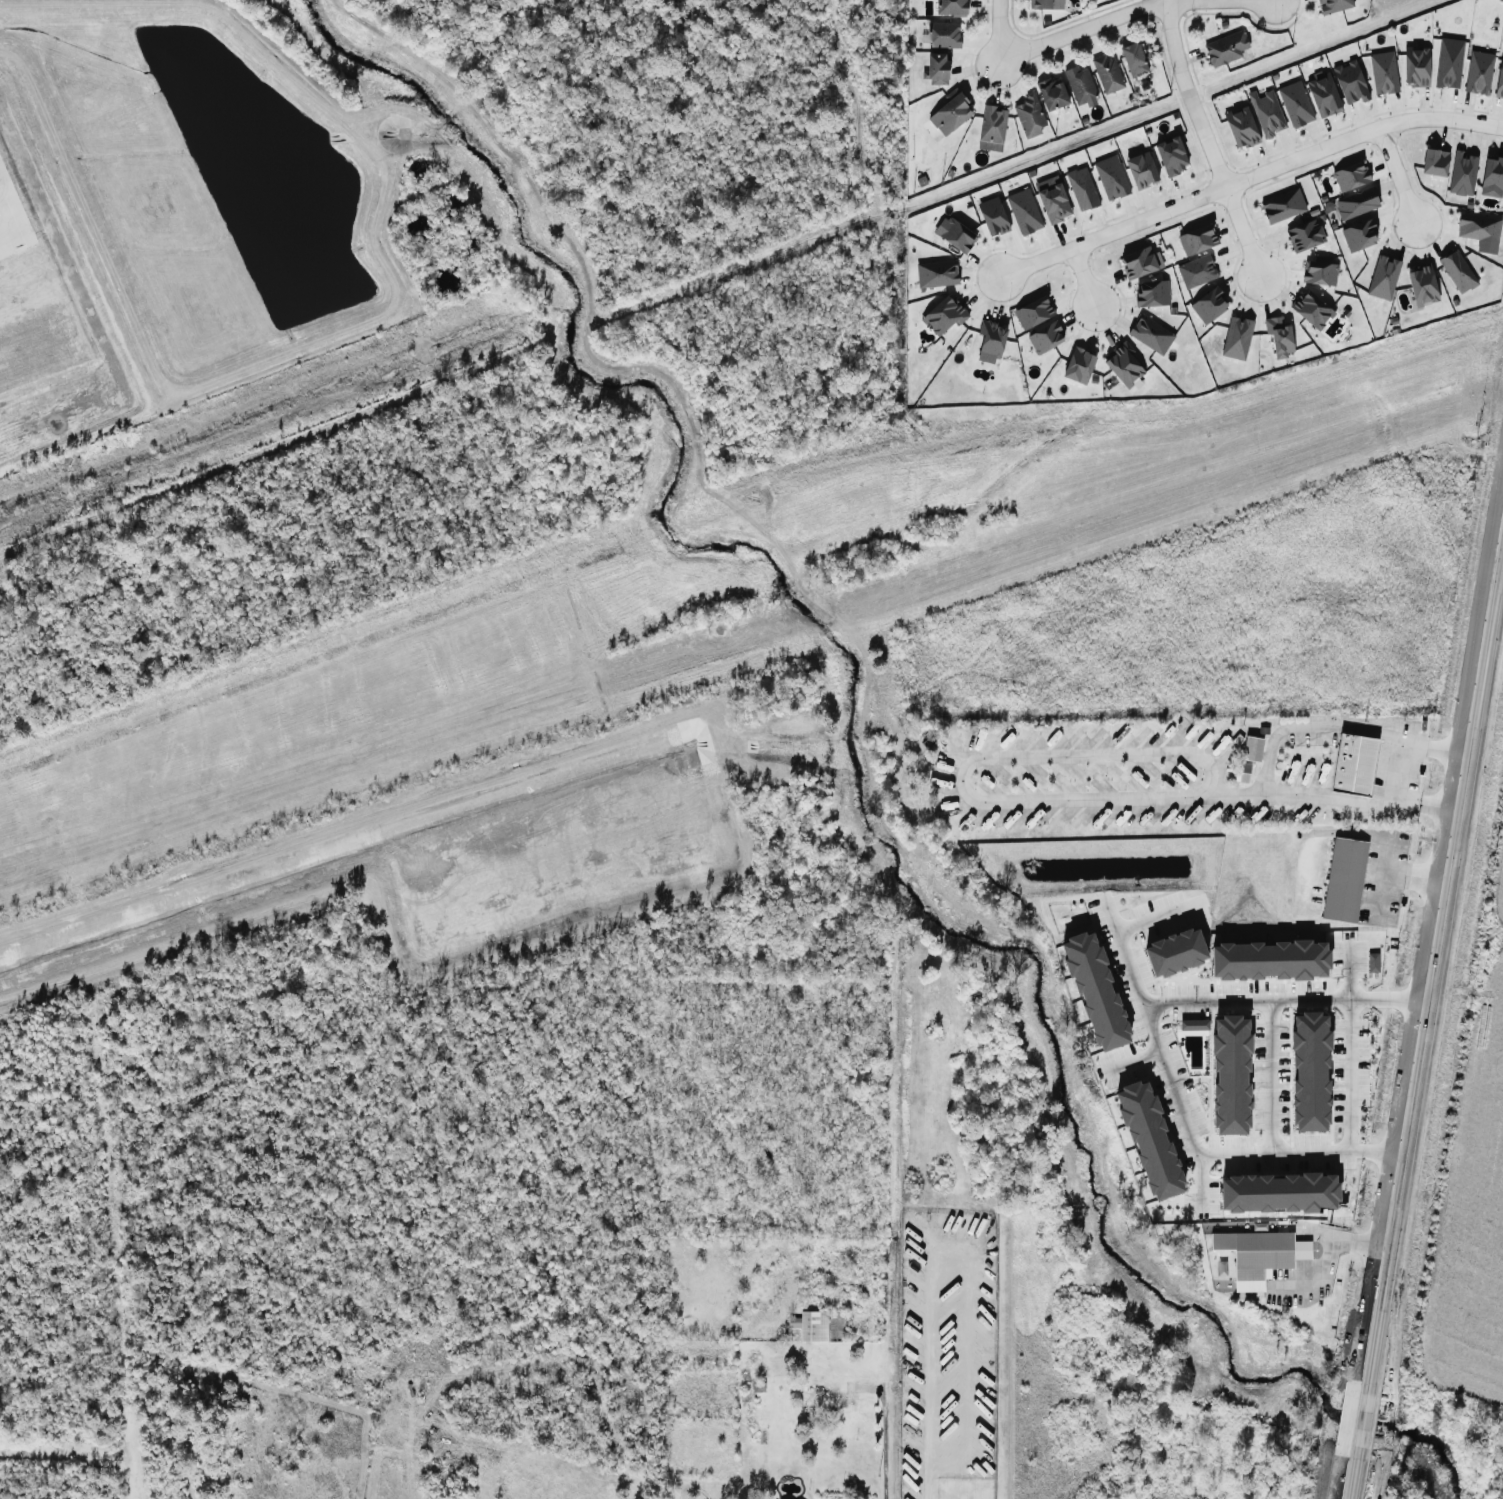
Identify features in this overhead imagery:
road: (1166, 0)
road: (1174, 0)
building: (1045, 4)
building: (1333, 5)
building: (951, 7)
road: (1079, 27)
road: (995, 31)
building: (943, 34)
building: (1226, 48)
building: (1133, 59)
building: (1448, 62)
building: (1416, 66)
building: (936, 68)
building: (1383, 72)
building: (1478, 72)
building: (1107, 73)
building: (1499, 80)
building: (1350, 82)
building: (1081, 86)
building: (1051, 94)
building: (1323, 95)
building: (1295, 103)
building: (950, 112)
building: (1266, 112)
building: (1029, 116)
road: (1440, 118)
building: (992, 124)
building: (1241, 127)
road: (1203, 141)
building: (1171, 155)
building: (1434, 162)
building: (1141, 170)
road: (1395, 173)
building: (1462, 173)
building: (1350, 176)
building: (1492, 176)
building: (1111, 177)
building: (1081, 188)
road: (1186, 198)
building: (1356, 202)
building: (1054, 203)
building: (1283, 205)
building: (1024, 211)
building: (993, 216)
building: (1479, 230)
building: (957, 235)
building: (1304, 235)
building: (1358, 235)
building: (1197, 239)
building: (1138, 262)
building: (1196, 271)
building: (1457, 271)
building: (1319, 272)
building: (936, 273)
road: (1082, 275)
building: (1383, 277)
building: (1422, 285)
building: (1152, 293)
building: (1209, 305)
building: (1311, 309)
building: (1033, 312)
building: (943, 315)
building: (1151, 334)
building: (1279, 336)
building: (1045, 337)
building: (1236, 338)
building: (990, 341)
building: (1078, 365)
building: (1124, 366)
road: (1343, 728)
building: (1252, 748)
road: (964, 766)
building: (1354, 769)
building: (1242, 772)
road: (1338, 803)
road: (1417, 876)
road: (1382, 877)
building: (1344, 883)
road: (1151, 920)
building: (1180, 946)
building: (1273, 955)
building: (1372, 962)
road: (1435, 970)
road: (1349, 972)
building: (1100, 987)
road: (1229, 1000)
building: (1193, 1024)
road: (1130, 1061)
building: (1315, 1067)
building: (1235, 1071)
road: (1271, 1076)
road: (1349, 1102)
road: (1180, 1105)
building: (1156, 1140)
road: (1274, 1151)
building: (1281, 1199)
road: (1324, 1235)
road: (1364, 1243)
road: (1303, 1250)
building: (1259, 1258)
road: (1320, 1264)
building: (813, 1325)
building: (754, 1356)
road: (925, 1384)
building: (821, 1401)
road: (1361, 1422)
road: (883, 1434)
road: (1352, 1481)

